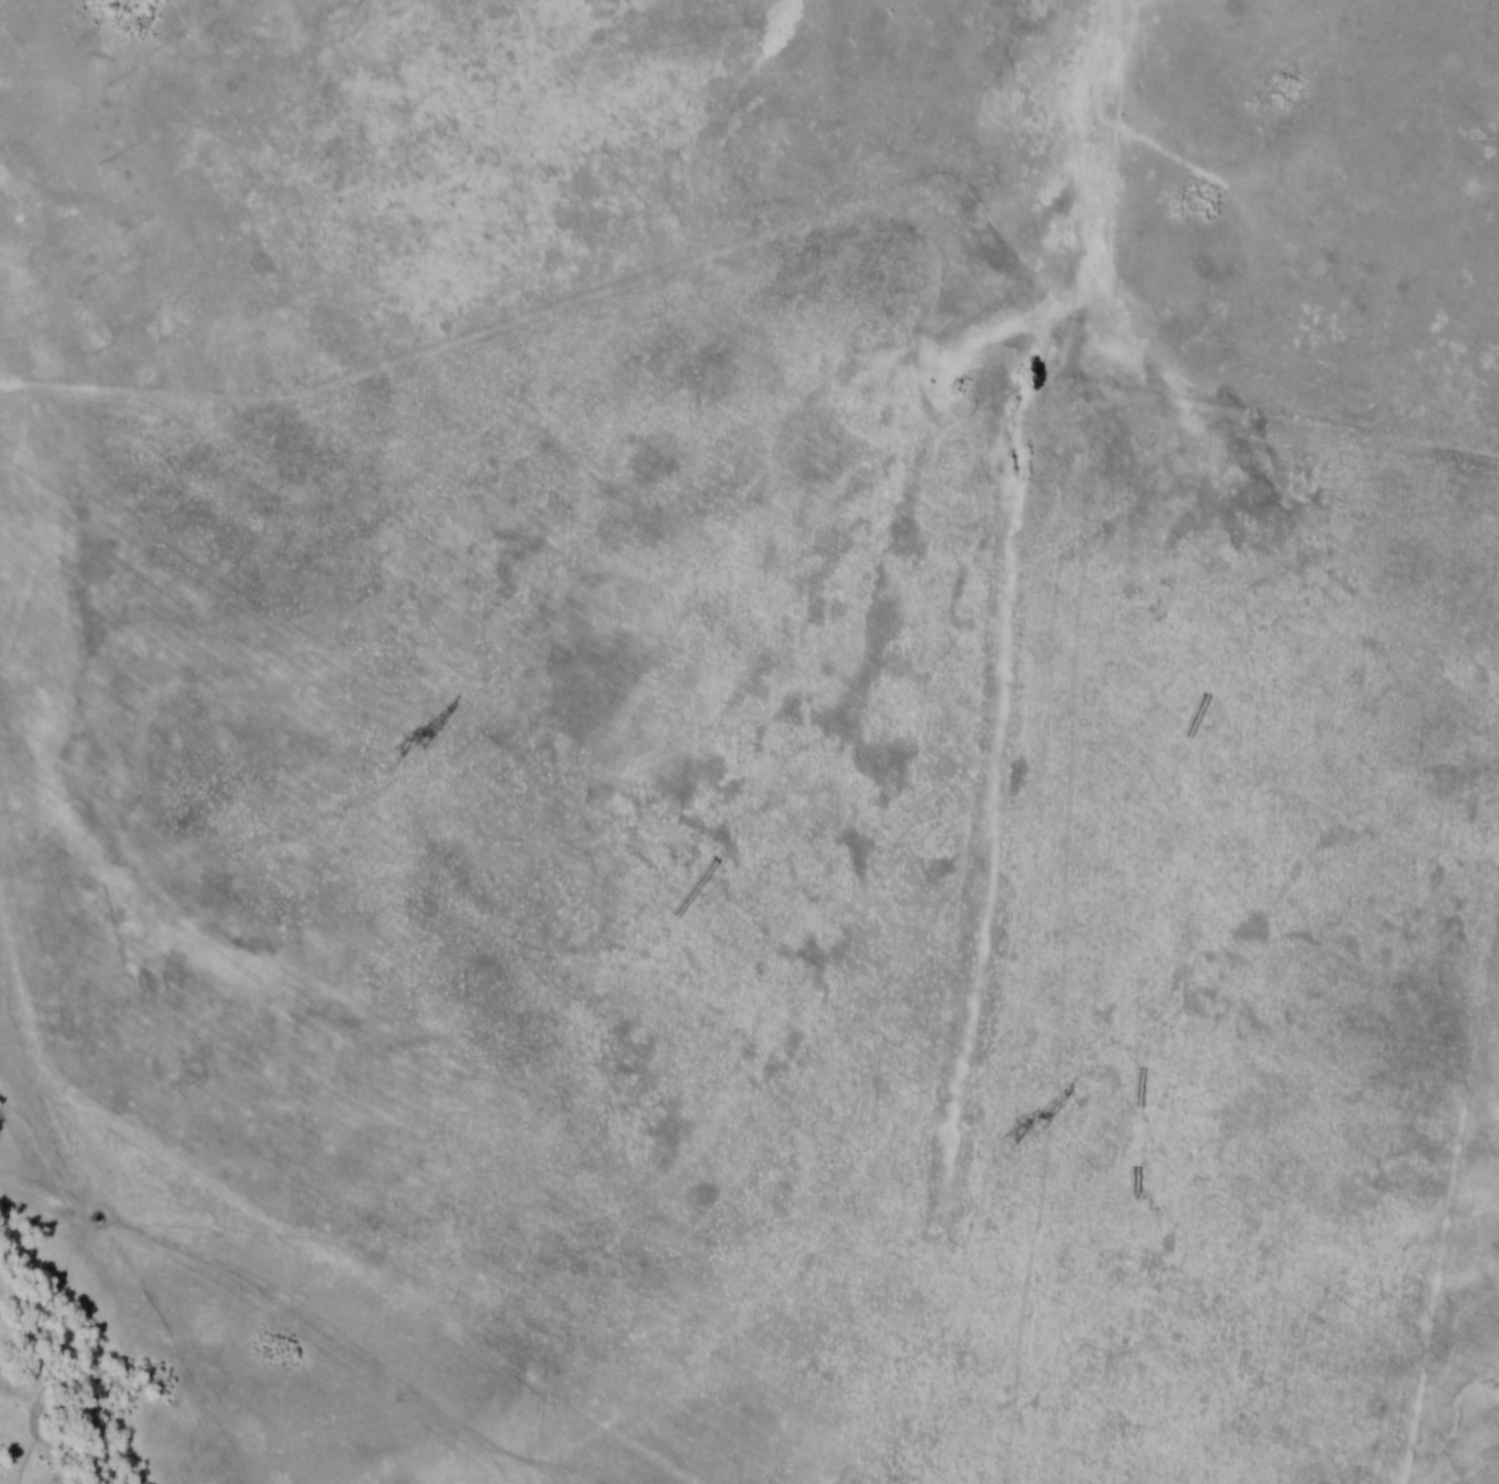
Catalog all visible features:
power tower: (402, 742)
power tower: (1015, 1126)
road: (758, 1433)

